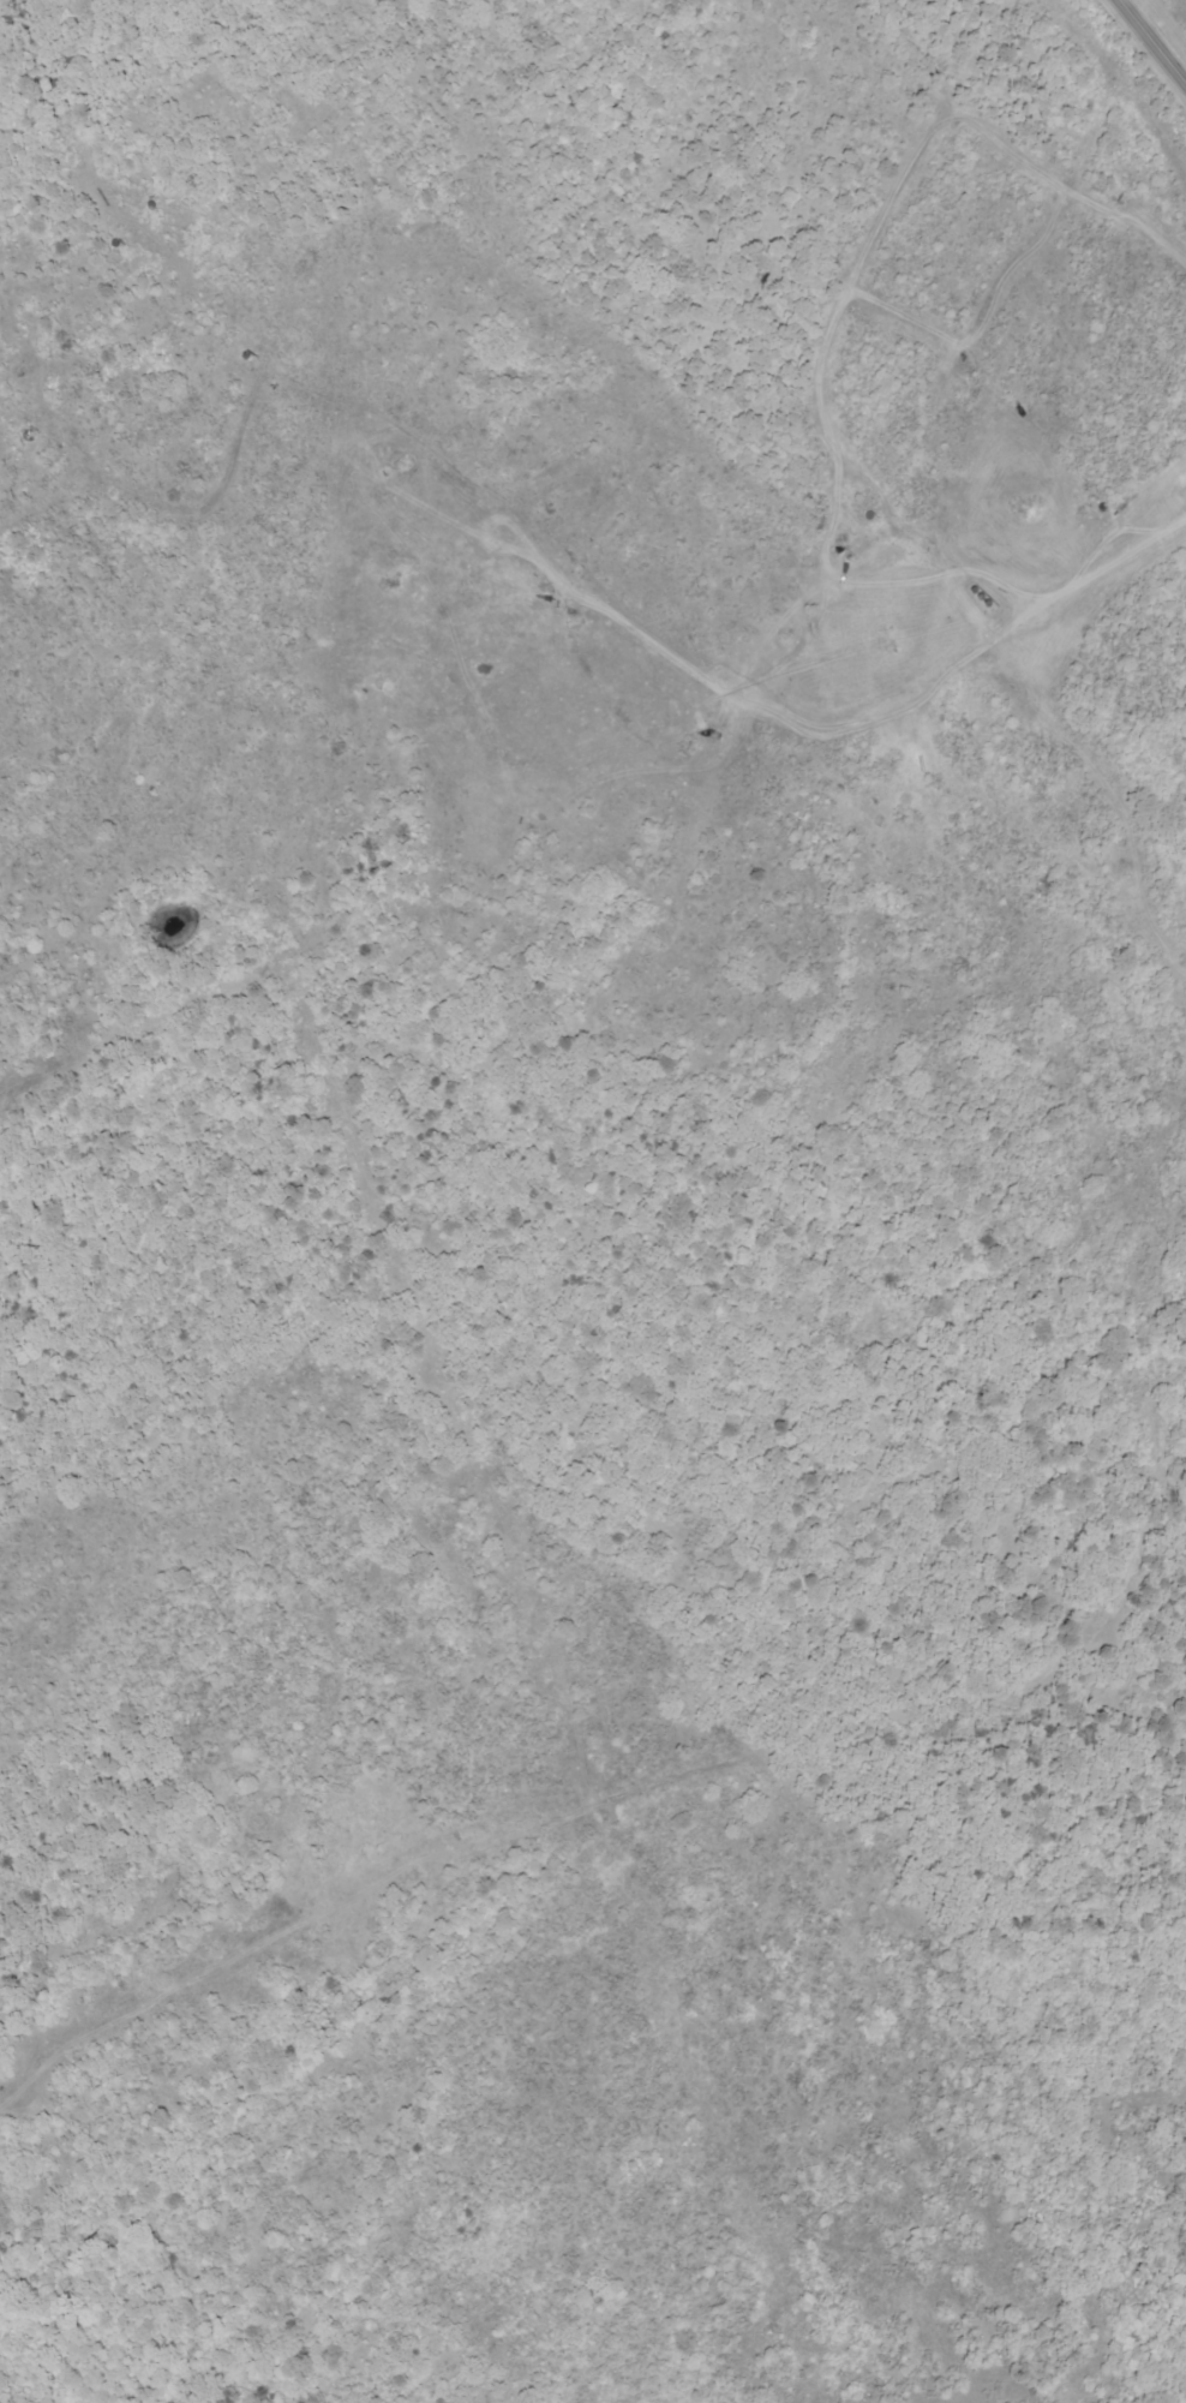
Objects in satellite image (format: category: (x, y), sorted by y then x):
road: (1152, 41)

